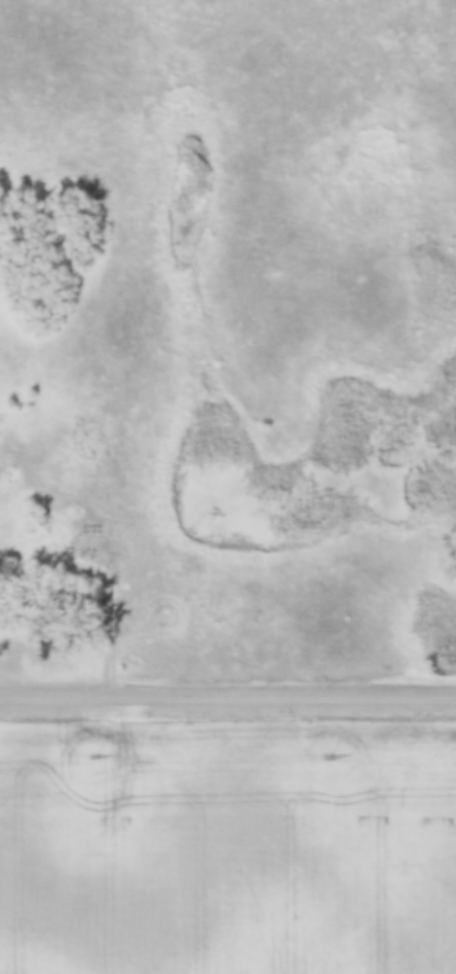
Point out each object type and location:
road: (228, 696)

